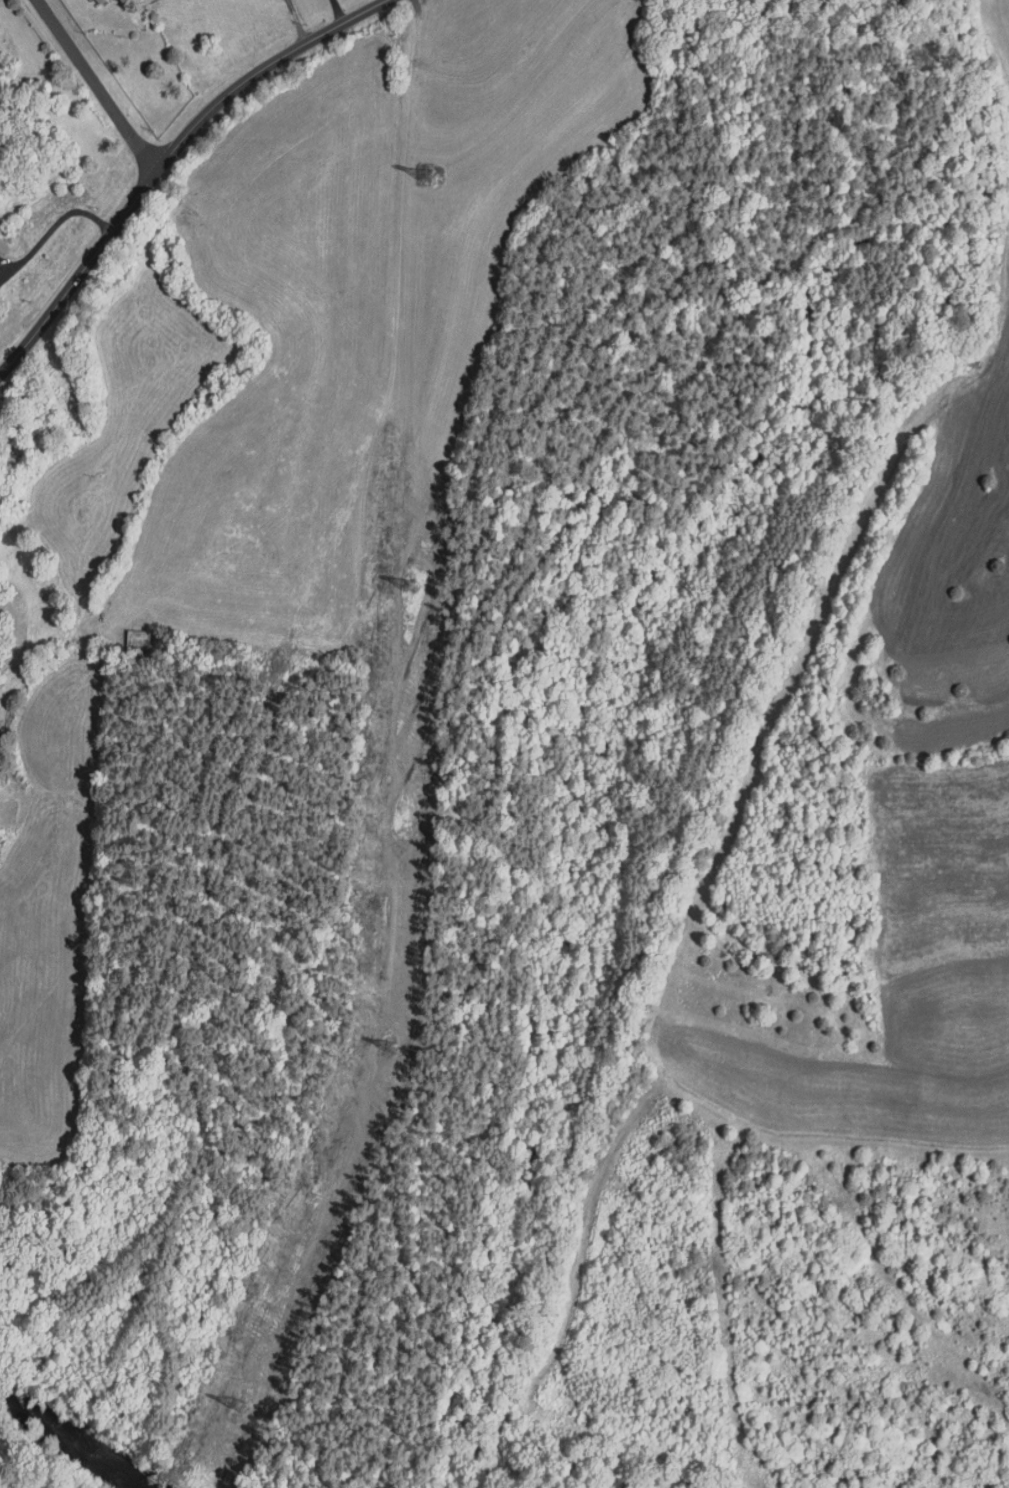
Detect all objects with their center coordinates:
road: (92, 87)
road: (167, 157)
building: (3, 251)
building: (136, 642)

